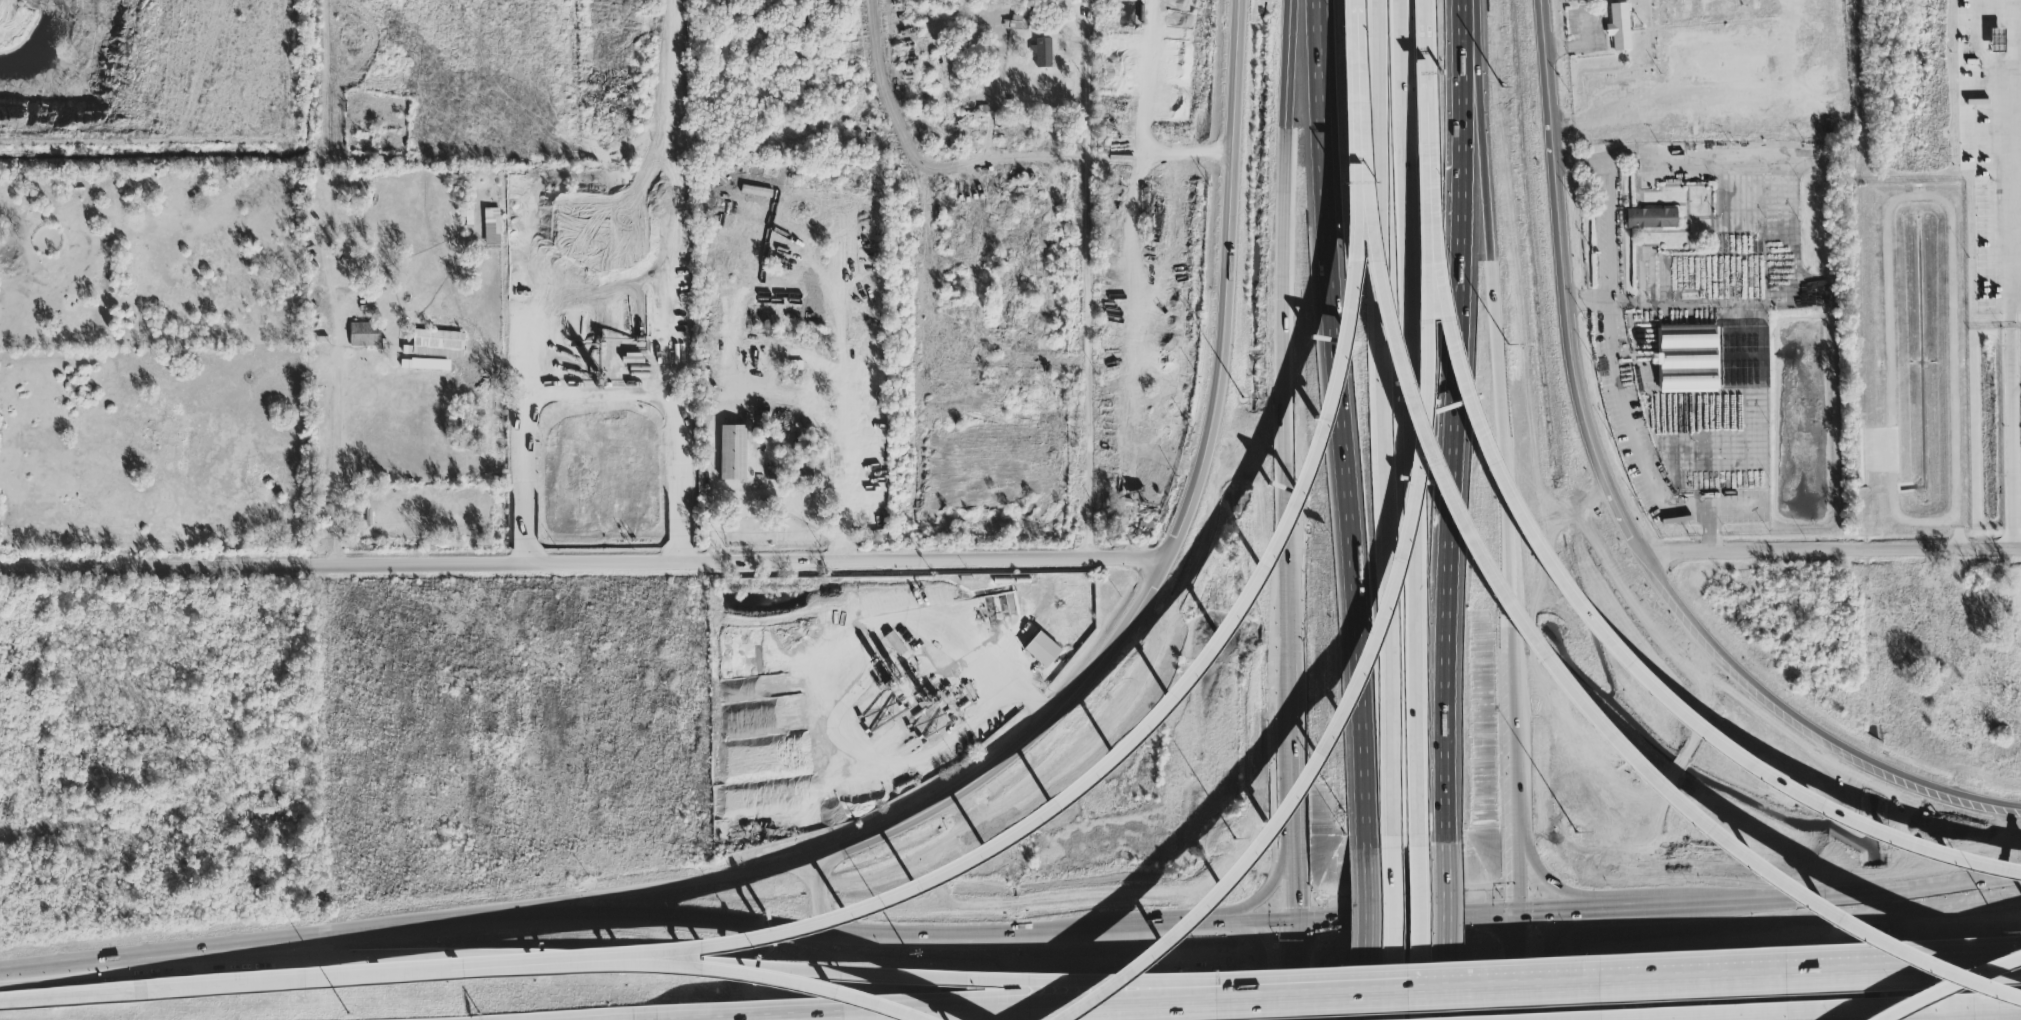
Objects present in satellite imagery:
building: (1675, 11)
building: (1619, 28)
building: (1996, 41)
building: (1042, 53)
road: (670, 59)
road: (1427, 78)
road: (1714, 97)
road: (1086, 99)
road: (1360, 102)
road: (1234, 147)
road: (1160, 159)
road: (918, 160)
road: (1429, 175)
road: (1136, 181)
building: (1651, 219)
building: (675, 264)
road: (2010, 273)
road: (1567, 288)
road: (1286, 294)
road: (1587, 303)
building: (365, 335)
building: (439, 336)
road: (1088, 358)
building: (1714, 358)
road: (1612, 359)
road: (1498, 362)
building: (428, 367)
road: (2015, 385)
road: (679, 415)
road: (1444, 419)
road: (1341, 420)
road: (1388, 420)
road: (1410, 421)
road: (337, 438)
road: (713, 451)
building: (734, 454)
road: (528, 476)
road: (790, 503)
road: (1834, 548)
road: (583, 561)
road: (1290, 624)
road: (1610, 634)
road: (1121, 635)
building: (1038, 648)
road: (1371, 660)
road: (1584, 689)
road: (1805, 731)
road: (1152, 732)
road: (1292, 753)
road: (1517, 770)
road: (1521, 863)
road: (1540, 872)
road: (1294, 883)
road: (683, 885)
road: (818, 888)
road: (1267, 892)
road: (1840, 898)
road: (1624, 907)
road: (1556, 910)
traffic signals: (1521, 912)
road: (556, 915)
road: (1408, 916)
traffic signals: (1296, 920)
road: (1260, 921)
road: (1166, 925)
road: (1084, 926)
road: (1446, 929)
road: (1365, 930)
road: (1395, 931)
road: (1420, 931)
road: (1296, 939)
road: (1552, 956)
road: (361, 960)
road: (1261, 962)
road: (550, 964)
road: (1521, 966)
road: (28, 967)
road: (1797, 974)
road: (1120, 984)
road: (1952, 986)
road: (1297, 989)
road: (72, 997)
road: (1218, 1002)
road: (1815, 1010)

